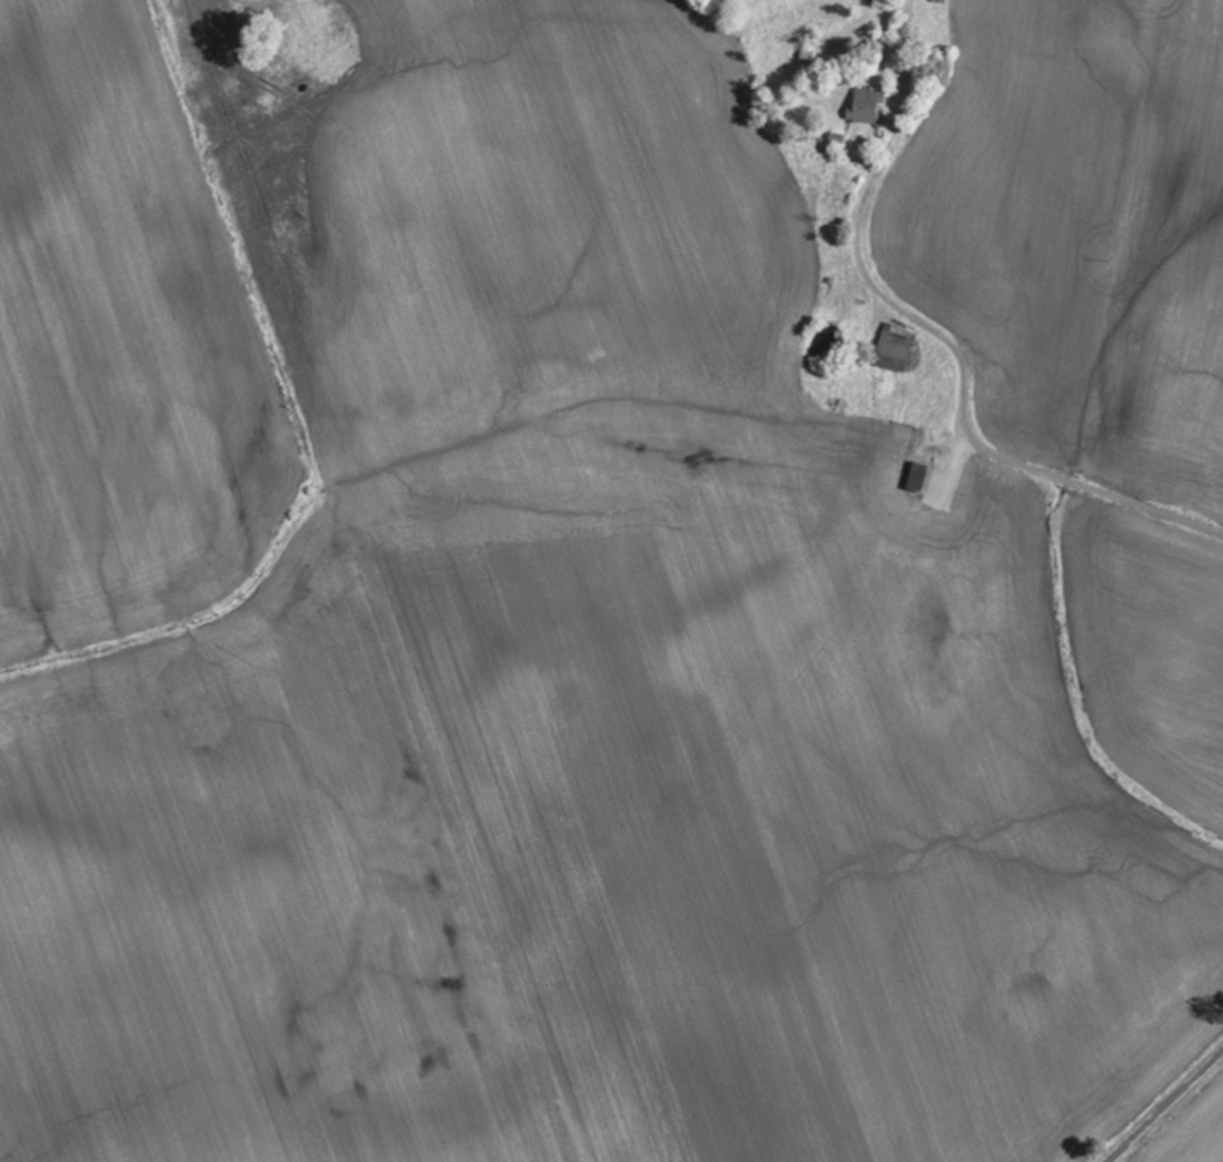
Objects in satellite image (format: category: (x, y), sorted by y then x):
building: (868, 108)
road: (966, 381)
building: (921, 478)
road: (1164, 1107)

